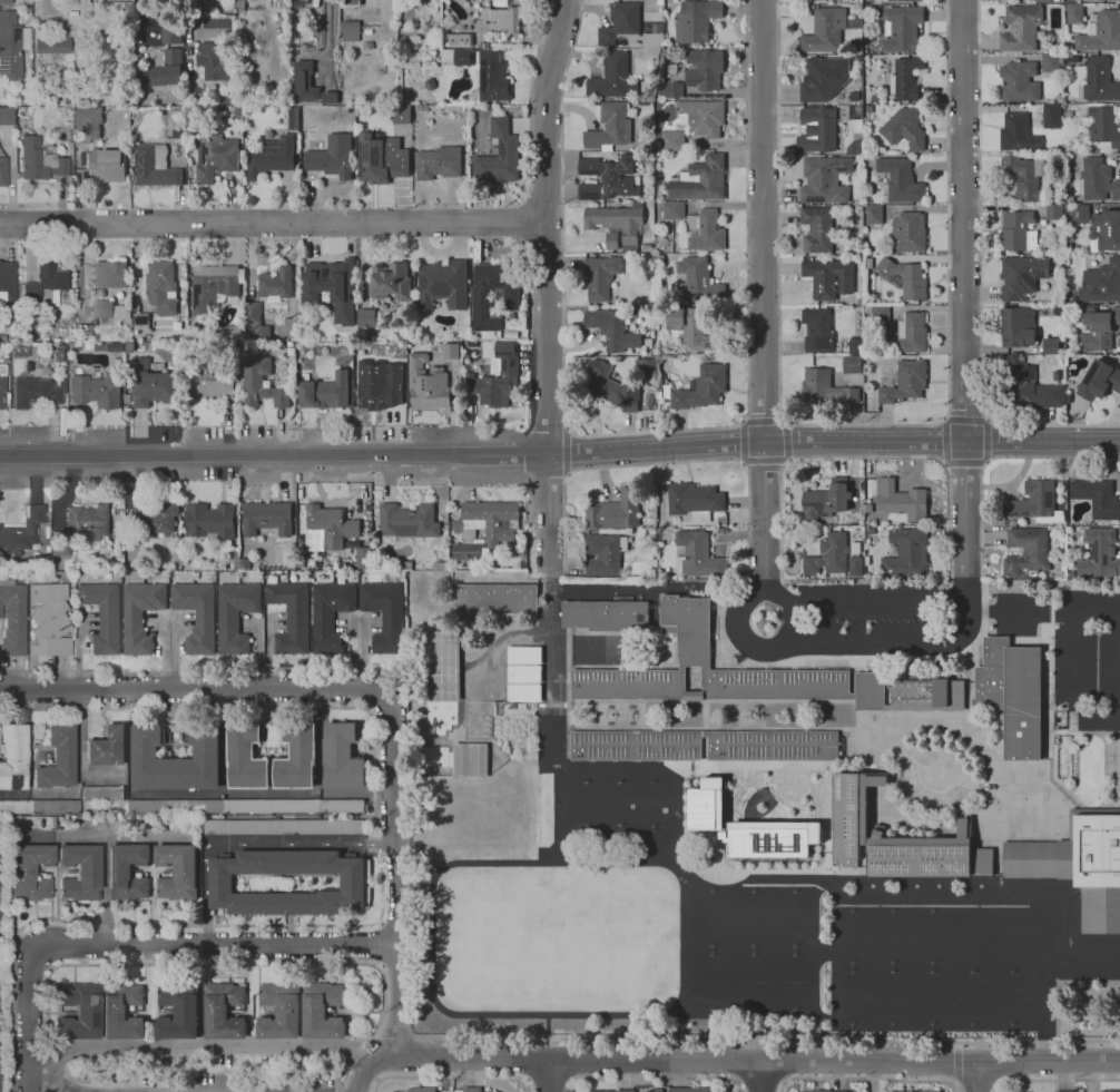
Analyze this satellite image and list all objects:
building: (805, 0)
building: (903, 0)
building: (1096, 0)
building: (1045, 1)
building: (6, 2)
building: (348, 3)
building: (239, 4)
building: (208, 6)
building: (1074, 13)
road: (137, 19)
road: (191, 19)
building: (498, 20)
building: (696, 20)
building: (219, 26)
building: (629, 28)
building: (902, 29)
building: (1021, 29)
building: (350, 30)
building: (827, 30)
building: (425, 31)
building: (170, 32)
building: (1100, 33)
building: (458, 39)
building: (12, 45)
building: (51, 45)
building: (367, 45)
building: (456, 57)
building: (1072, 60)
building: (214, 61)
road: (534, 62)
building: (1050, 62)
building: (672, 68)
building: (166, 70)
building: (704, 70)
building: (612, 78)
building: (823, 78)
building: (489, 79)
building: (905, 79)
building: (1099, 80)
building: (304, 81)
building: (1019, 81)
building: (671, 90)
building: (853, 96)
building: (22, 97)
building: (875, 99)
building: (67, 101)
building: (421, 108)
building: (868, 109)
building: (402, 115)
building: (1068, 115)
building: (7, 116)
building: (190, 116)
building: (1051, 116)
building: (293, 117)
building: (701, 117)
building: (86, 124)
building: (610, 129)
building: (904, 129)
building: (817, 130)
building: (1102, 130)
building: (1018, 134)
building: (671, 141)
building: (1070, 146)
building: (853, 147)
building: (498, 156)
building: (215, 157)
building: (272, 157)
building: (332, 157)
building: (381, 159)
building: (40, 160)
building: (439, 163)
building: (106, 165)
building: (154, 166)
building: (3, 171)
building: (608, 178)
building: (1025, 178)
building: (825, 179)
building: (700, 180)
building: (900, 180)
building: (1098, 180)
building: (648, 197)
building: (1069, 199)
building: (674, 210)
building: (1054, 210)
building: (873, 215)
road: (763, 220)
road: (962, 220)
building: (619, 223)
road: (273, 224)
building: (1097, 226)
building: (817, 229)
building: (705, 232)
building: (1018, 232)
building: (907, 233)
building: (611, 240)
building: (647, 248)
building: (660, 258)
building: (868, 263)
building: (3, 274)
building: (109, 275)
building: (600, 276)
road: (981, 276)
building: (1021, 276)
building: (828, 277)
building: (905, 278)
building: (699, 281)
building: (390, 282)
building: (1101, 283)
building: (275, 285)
building: (443, 285)
road: (547, 285)
building: (46, 286)
building: (214, 286)
building: (161, 287)
building: (333, 287)
building: (1069, 299)
building: (480, 301)
building: (1068, 305)
building: (657, 308)
building: (110, 311)
building: (878, 312)
building: (366, 318)
building: (140, 322)
building: (1074, 323)
building: (248, 325)
building: (1019, 327)
building: (692, 328)
building: (1098, 328)
building: (612, 329)
building: (817, 331)
building: (83, 333)
building: (911, 333)
building: (648, 342)
building: (289, 344)
building: (88, 345)
building: (854, 346)
building: (1051, 346)
building: (116, 347)
building: (20, 352)
building: (59, 352)
building: (450, 352)
building: (851, 364)
building: (29, 366)
building: (645, 366)
building: (2, 370)
building: (495, 375)
building: (1057, 376)
building: (1099, 381)
building: (904, 382)
building: (426, 383)
building: (261, 384)
building: (379, 384)
building: (153, 385)
building: (611, 386)
building: (212, 388)
building: (701, 388)
building: (825, 388)
building: (1030, 388)
building: (2, 391)
building: (96, 391)
building: (323, 391)
building: (37, 392)
road: (964, 420)
road: (762, 422)
road: (862, 423)
road: (649, 432)
road: (988, 440)
road: (942, 441)
road: (741, 442)
road: (787, 442)
road: (566, 451)
road: (560, 455)
road: (856, 458)
road: (765, 461)
road: (661, 463)
road: (964, 464)
building: (1097, 498)
building: (900, 500)
building: (695, 501)
building: (825, 502)
building: (1035, 503)
building: (867, 509)
road: (964, 509)
building: (615, 511)
building: (157, 518)
building: (266, 518)
road: (765, 518)
building: (835, 518)
building: (409, 521)
building: (88, 522)
building: (210, 522)
building: (1012, 522)
building: (331, 525)
building: (118, 527)
building: (484, 529)
building: (871, 530)
building: (21, 532)
building: (60, 543)
building: (1026, 551)
building: (906, 553)
building: (603, 554)
building: (828, 554)
building: (697, 555)
building: (1100, 555)
building: (236, 560)
building: (41, 562)
building: (55, 562)
road: (982, 562)
building: (244, 564)
building: (854, 565)
building: (115, 574)
road: (763, 582)
building: (494, 599)
road: (884, 601)
road: (1021, 611)
road: (1094, 612)
building: (140, 614)
building: (385, 614)
building: (102, 616)
building: (197, 616)
building: (236, 616)
building: (331, 616)
building: (605, 616)
building: (291, 617)
building: (12, 618)
building: (49, 620)
road: (739, 624)
road: (912, 641)
road: (737, 655)
building: (524, 656)
building: (443, 666)
road: (1116, 667)
road: (205, 669)
building: (719, 671)
building: (524, 675)
road: (1072, 688)
road: (553, 689)
road: (196, 692)
building: (524, 692)
building: (1012, 693)
building: (927, 695)
road: (466, 707)
building: (108, 747)
building: (773, 748)
building: (145, 752)
building: (13, 756)
building: (297, 757)
building: (342, 757)
building: (57, 758)
building: (246, 758)
building: (471, 760)
building: (1119, 788)
building: (102, 793)
building: (706, 805)
building: (39, 806)
building: (246, 806)
building: (283, 827)
building: (772, 838)
building: (898, 839)
building: (1078, 865)
building: (31, 872)
building: (128, 872)
building: (178, 872)
building: (80, 873)
road: (394, 878)
building: (222, 884)
road: (382, 894)
building: (0, 908)
road: (144, 943)
road: (380, 945)
road: (223, 964)
park: (960, 965)
building: (0, 984)
building: (101, 1011)
building: (224, 1011)
building: (322, 1011)
building: (178, 1012)
building: (279, 1012)
road: (780, 1039)
road: (197, 1046)
road: (442, 1057)
road: (736, 1059)
road: (759, 1059)
road: (788, 1060)
road: (996, 1062)
road: (954, 1063)
road: (371, 1065)
road: (759, 1074)
road: (549, 1075)
road: (451, 1076)
road: (975, 1076)
road: (652, 1079)
road: (871, 1079)
road: (763, 1080)
road: (736, 1081)
road: (1055, 1081)
road: (976, 1084)
road: (63, 1086)
road: (954, 1089)
road: (263, 1090)
building: (422, 1090)
building: (469, 1090)
building: (689, 1090)
building: (609, 1091)
building: (816, 1091)
building: (913, 1091)
building: (1067, 1091)
building: (1110, 1091)

